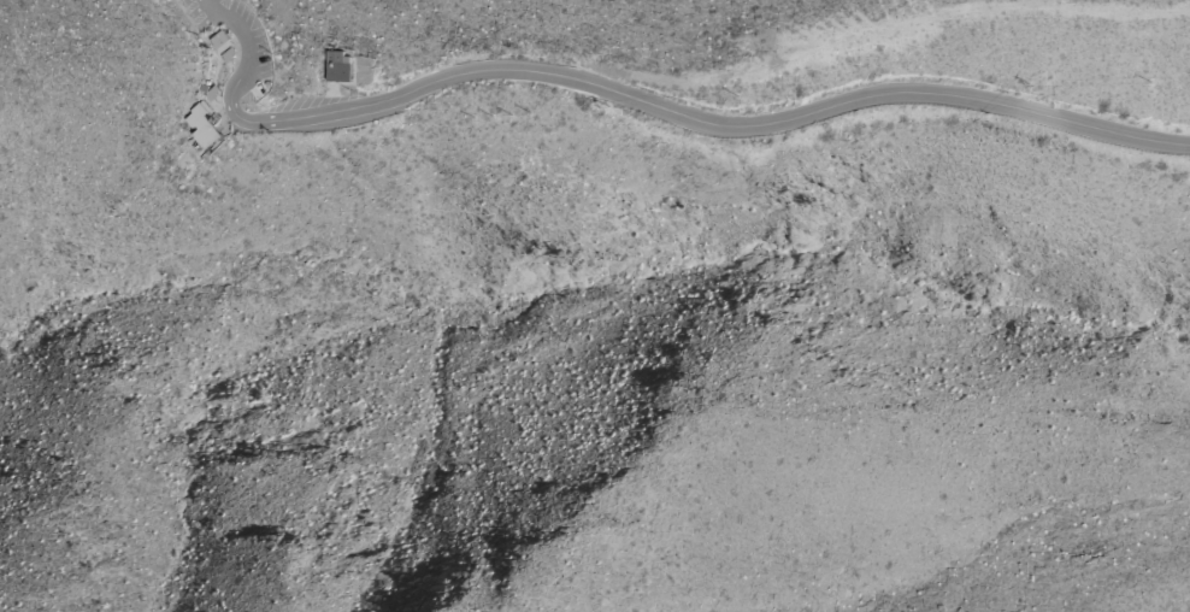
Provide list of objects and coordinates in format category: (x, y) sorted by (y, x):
building: (216, 39)
parking lot: (241, 41)
building: (225, 55)
road: (252, 58)
building: (336, 70)
building: (208, 93)
building: (204, 125)
road: (715, 125)

